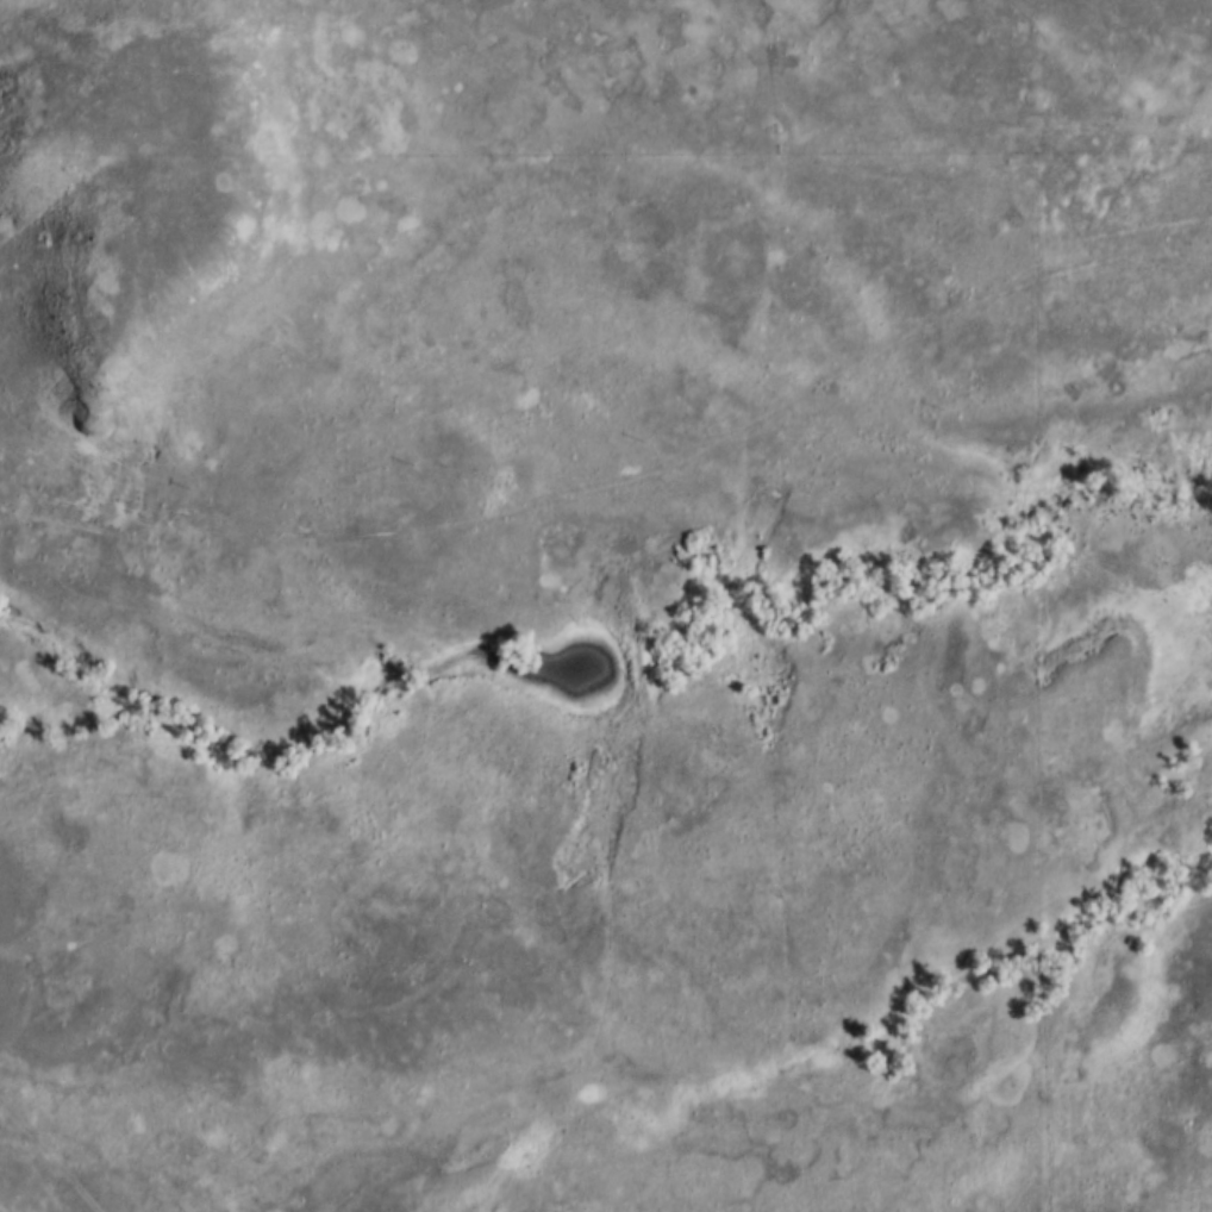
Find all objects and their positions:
road: (51, 1151)

